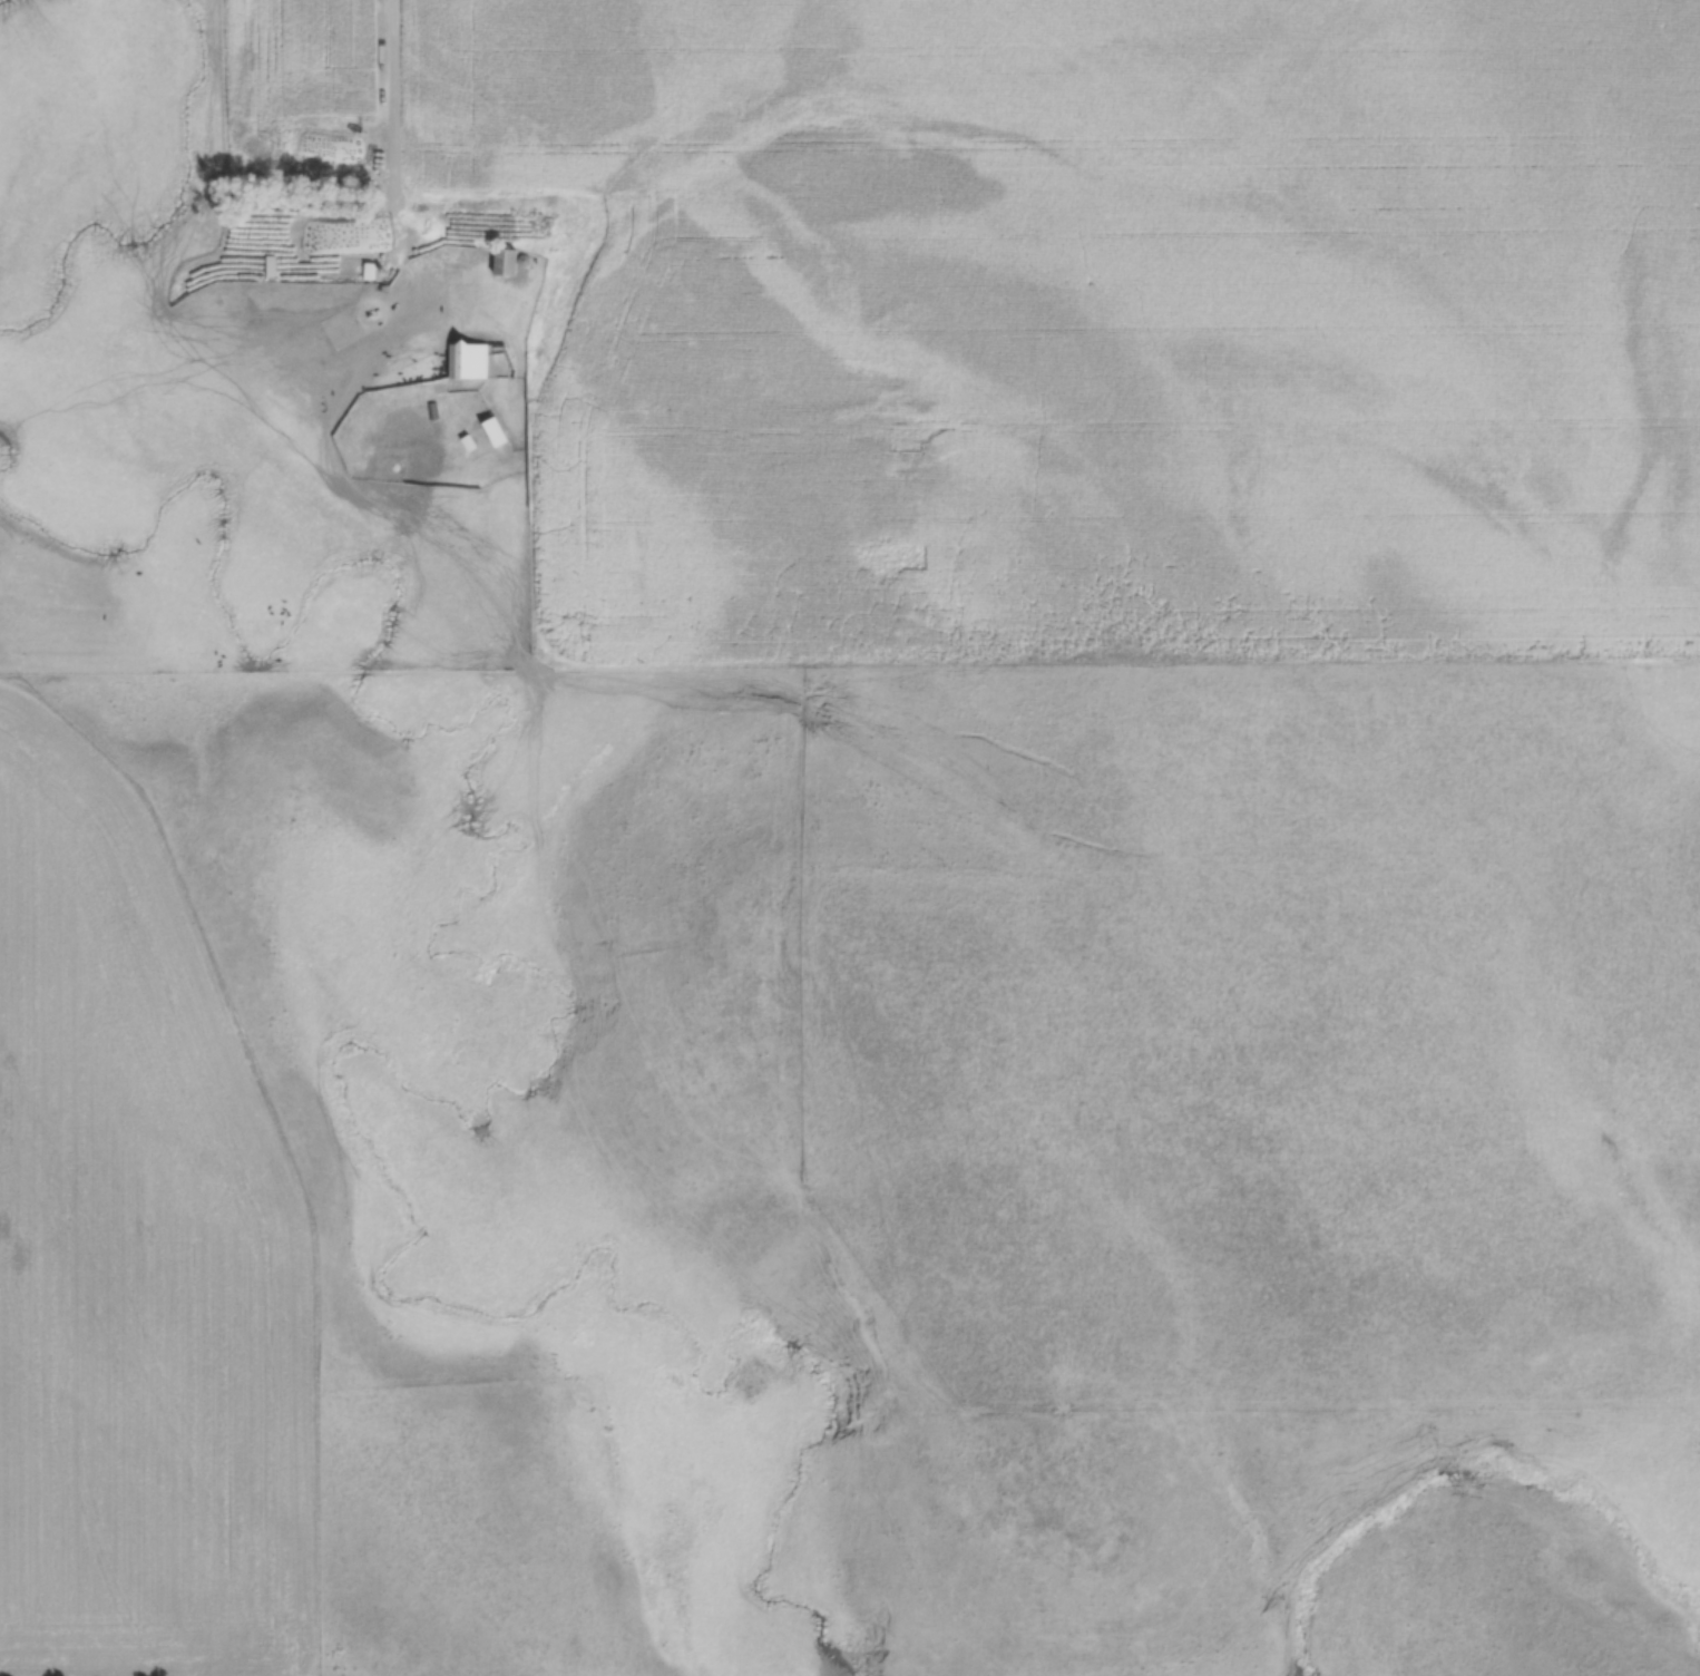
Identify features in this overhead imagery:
road: (397, 196)
building: (506, 261)
building: (370, 271)
building: (465, 360)
building: (496, 433)

